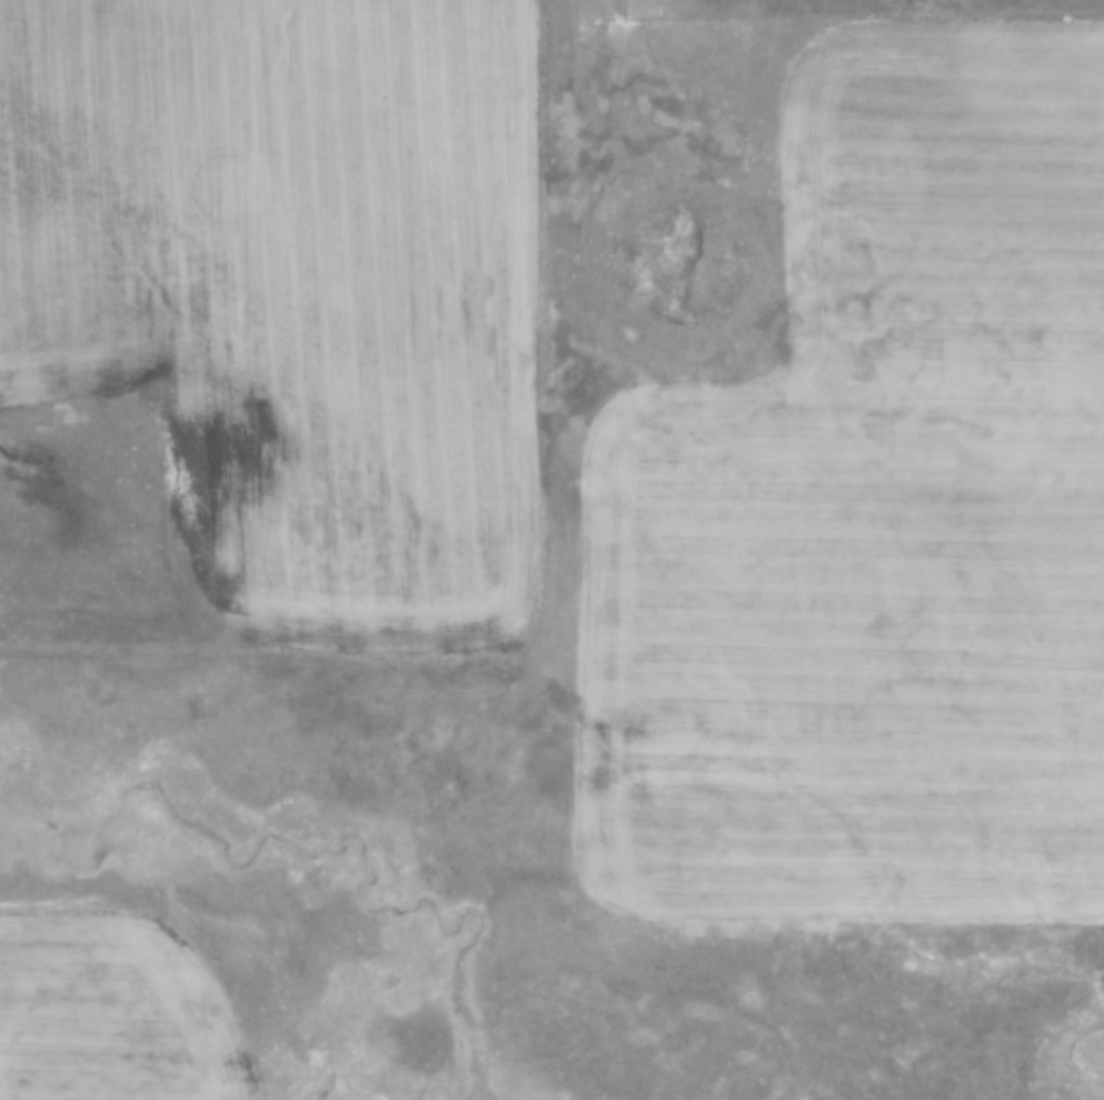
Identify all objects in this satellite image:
road: (95, 654)

